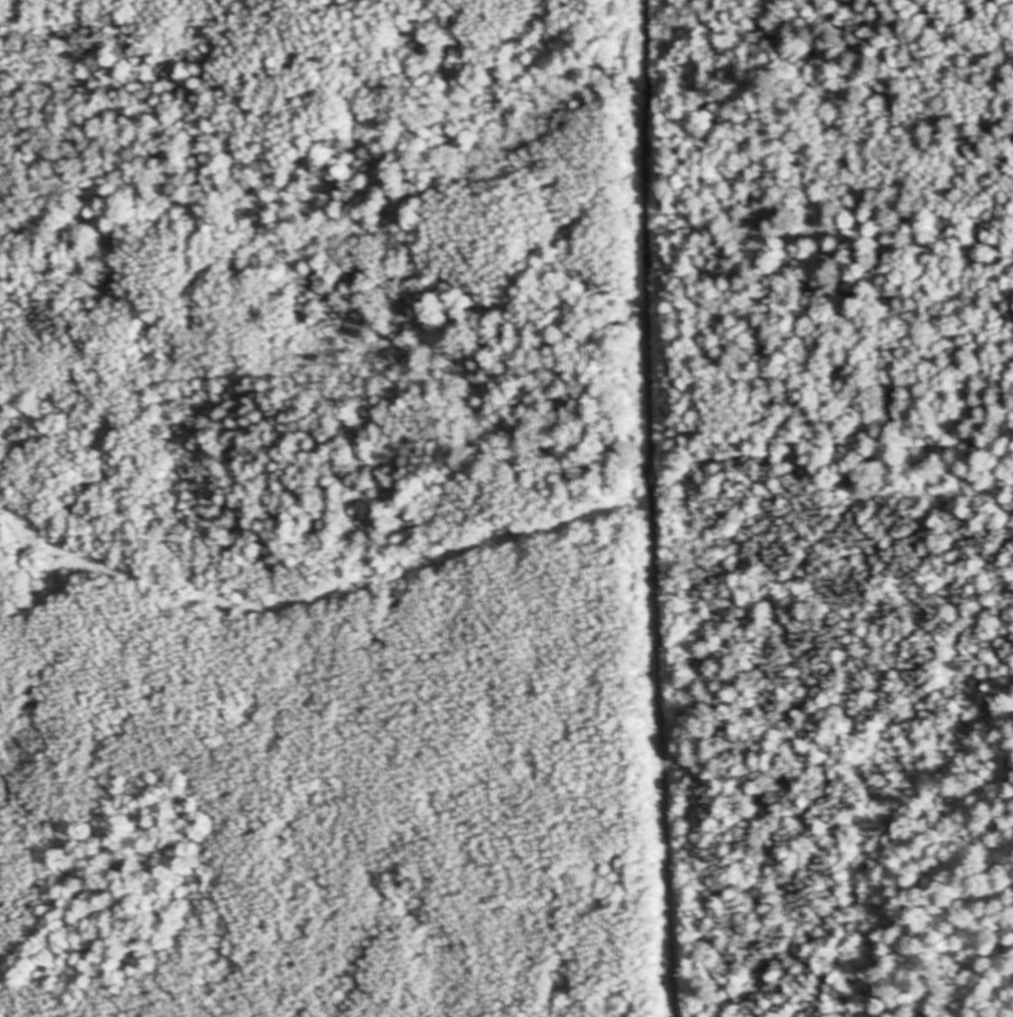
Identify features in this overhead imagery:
road: (658, 508)

